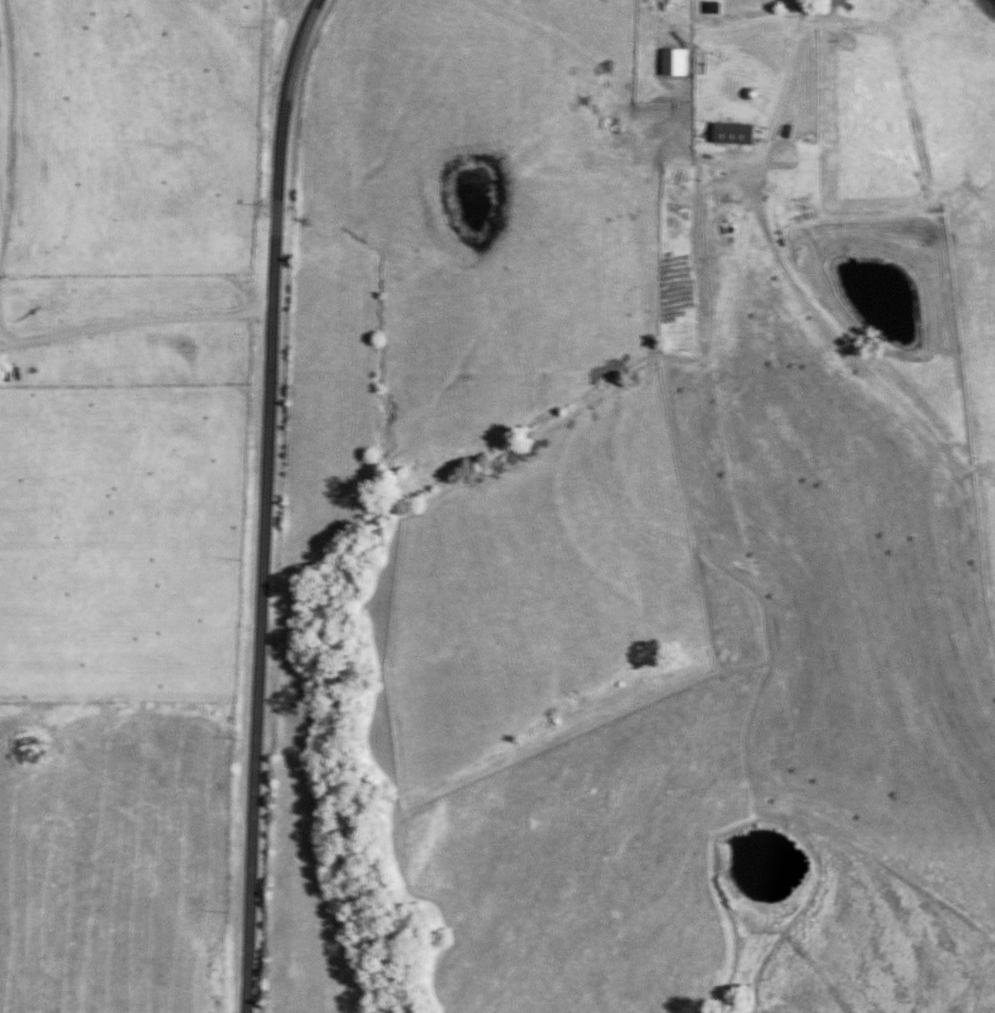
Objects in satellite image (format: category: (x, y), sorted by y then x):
building: (711, 8)
building: (674, 62)
road: (792, 84)
building: (733, 134)
road: (137, 324)
road: (269, 503)

